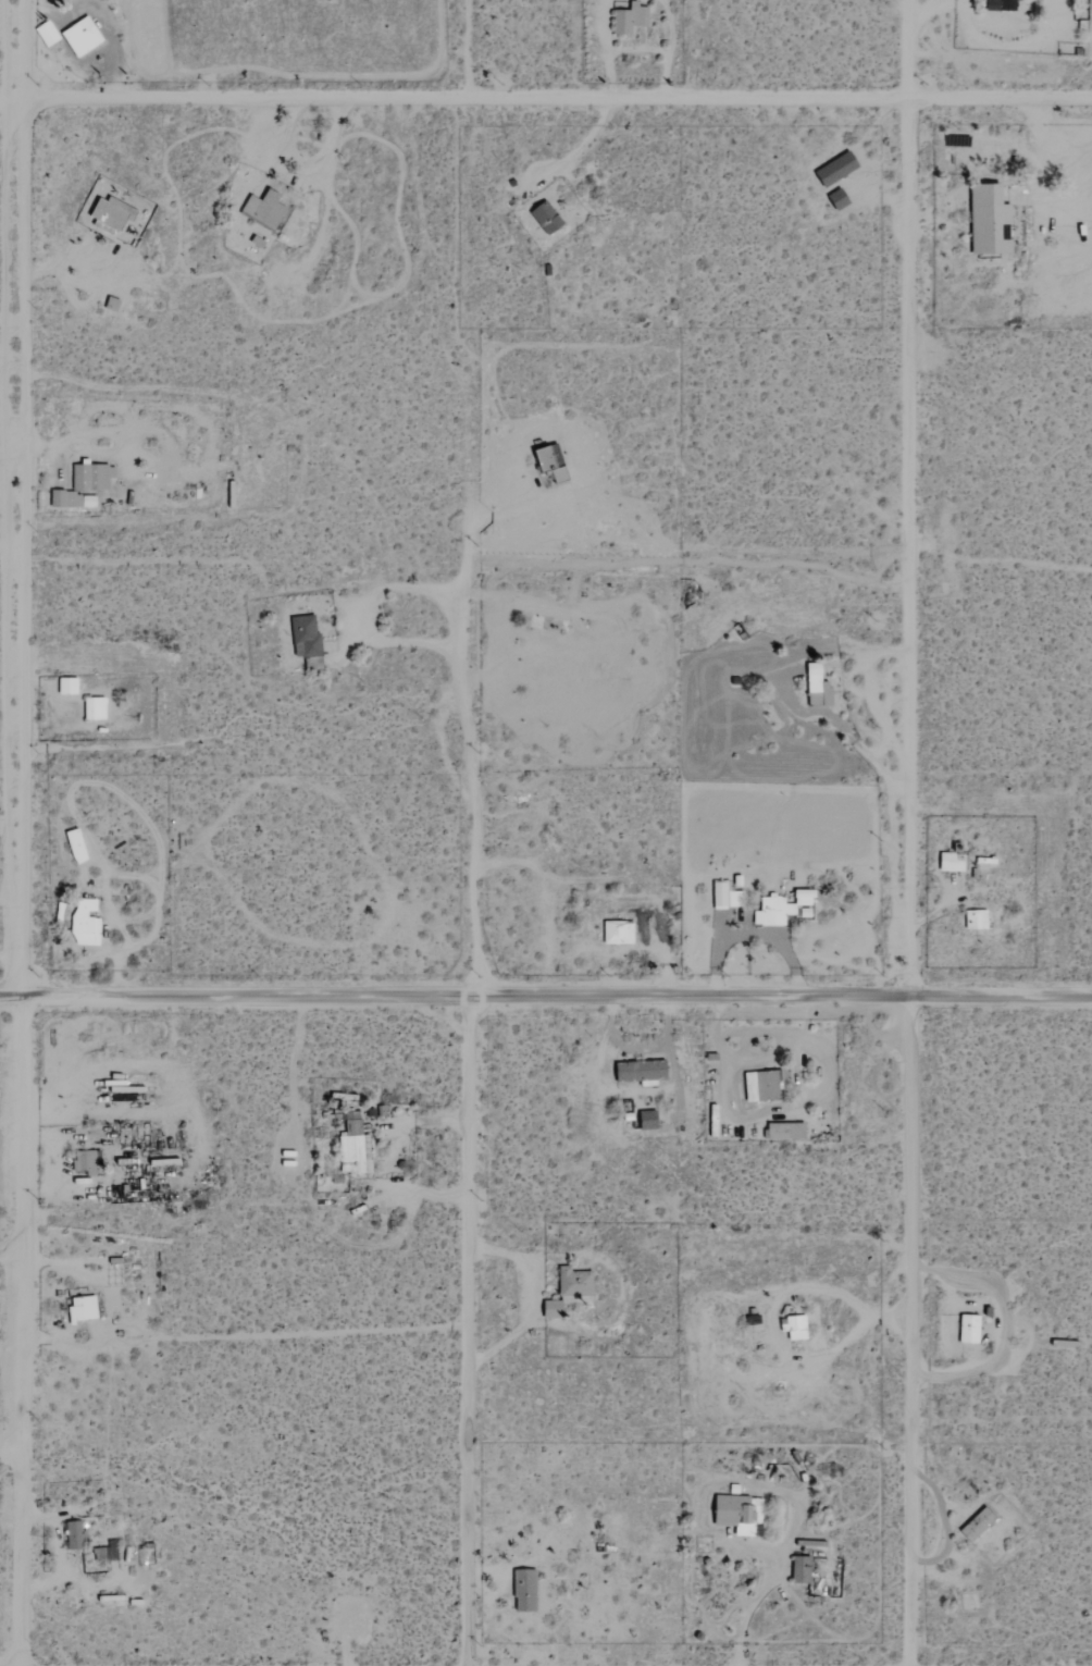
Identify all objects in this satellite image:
building: (997, 4)
building: (632, 17)
building: (49, 33)
building: (84, 36)
road: (549, 99)
road: (3, 106)
building: (833, 169)
building: (266, 209)
building: (112, 213)
building: (548, 218)
building: (985, 219)
building: (86, 485)
road: (13, 497)
road: (907, 497)
building: (309, 641)
building: (71, 684)
building: (815, 686)
building: (98, 707)
road: (474, 782)
building: (79, 844)
building: (951, 861)
building: (727, 896)
building: (781, 906)
building: (972, 918)
building: (87, 922)
building: (621, 931)
road: (546, 996)
building: (765, 1085)
building: (356, 1146)
building: (86, 1161)
building: (572, 1291)
road: (528, 1299)
building: (85, 1307)
building: (797, 1326)
building: (966, 1328)
road: (467, 1330)
road: (17, 1331)
road: (905, 1331)
building: (743, 1514)
building: (975, 1523)
building: (76, 1534)
building: (803, 1568)
building: (529, 1593)

